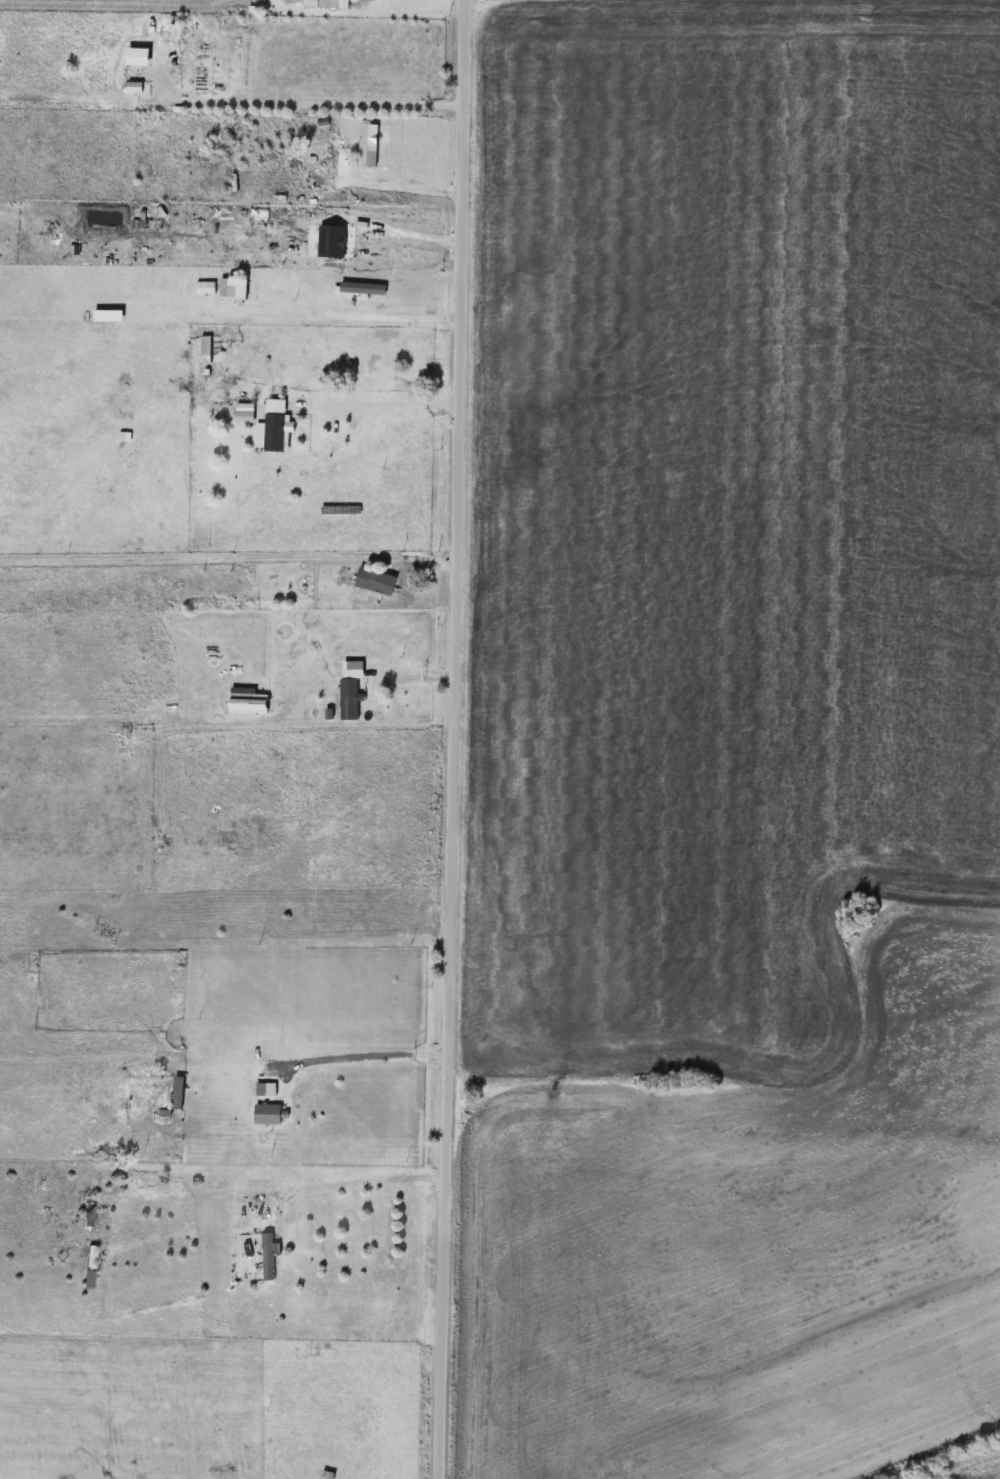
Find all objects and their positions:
building: (324, 4)
road: (322, 94)
building: (373, 147)
road: (405, 180)
road: (401, 230)
building: (368, 290)
building: (243, 291)
road: (347, 317)
building: (212, 347)
road: (379, 406)
building: (280, 426)
road: (229, 556)
building: (382, 583)
building: (357, 689)
road: (455, 739)
road: (369, 1056)
building: (183, 1094)
building: (278, 1105)
road: (367, 1180)
building: (91, 1210)
building: (93, 1268)

